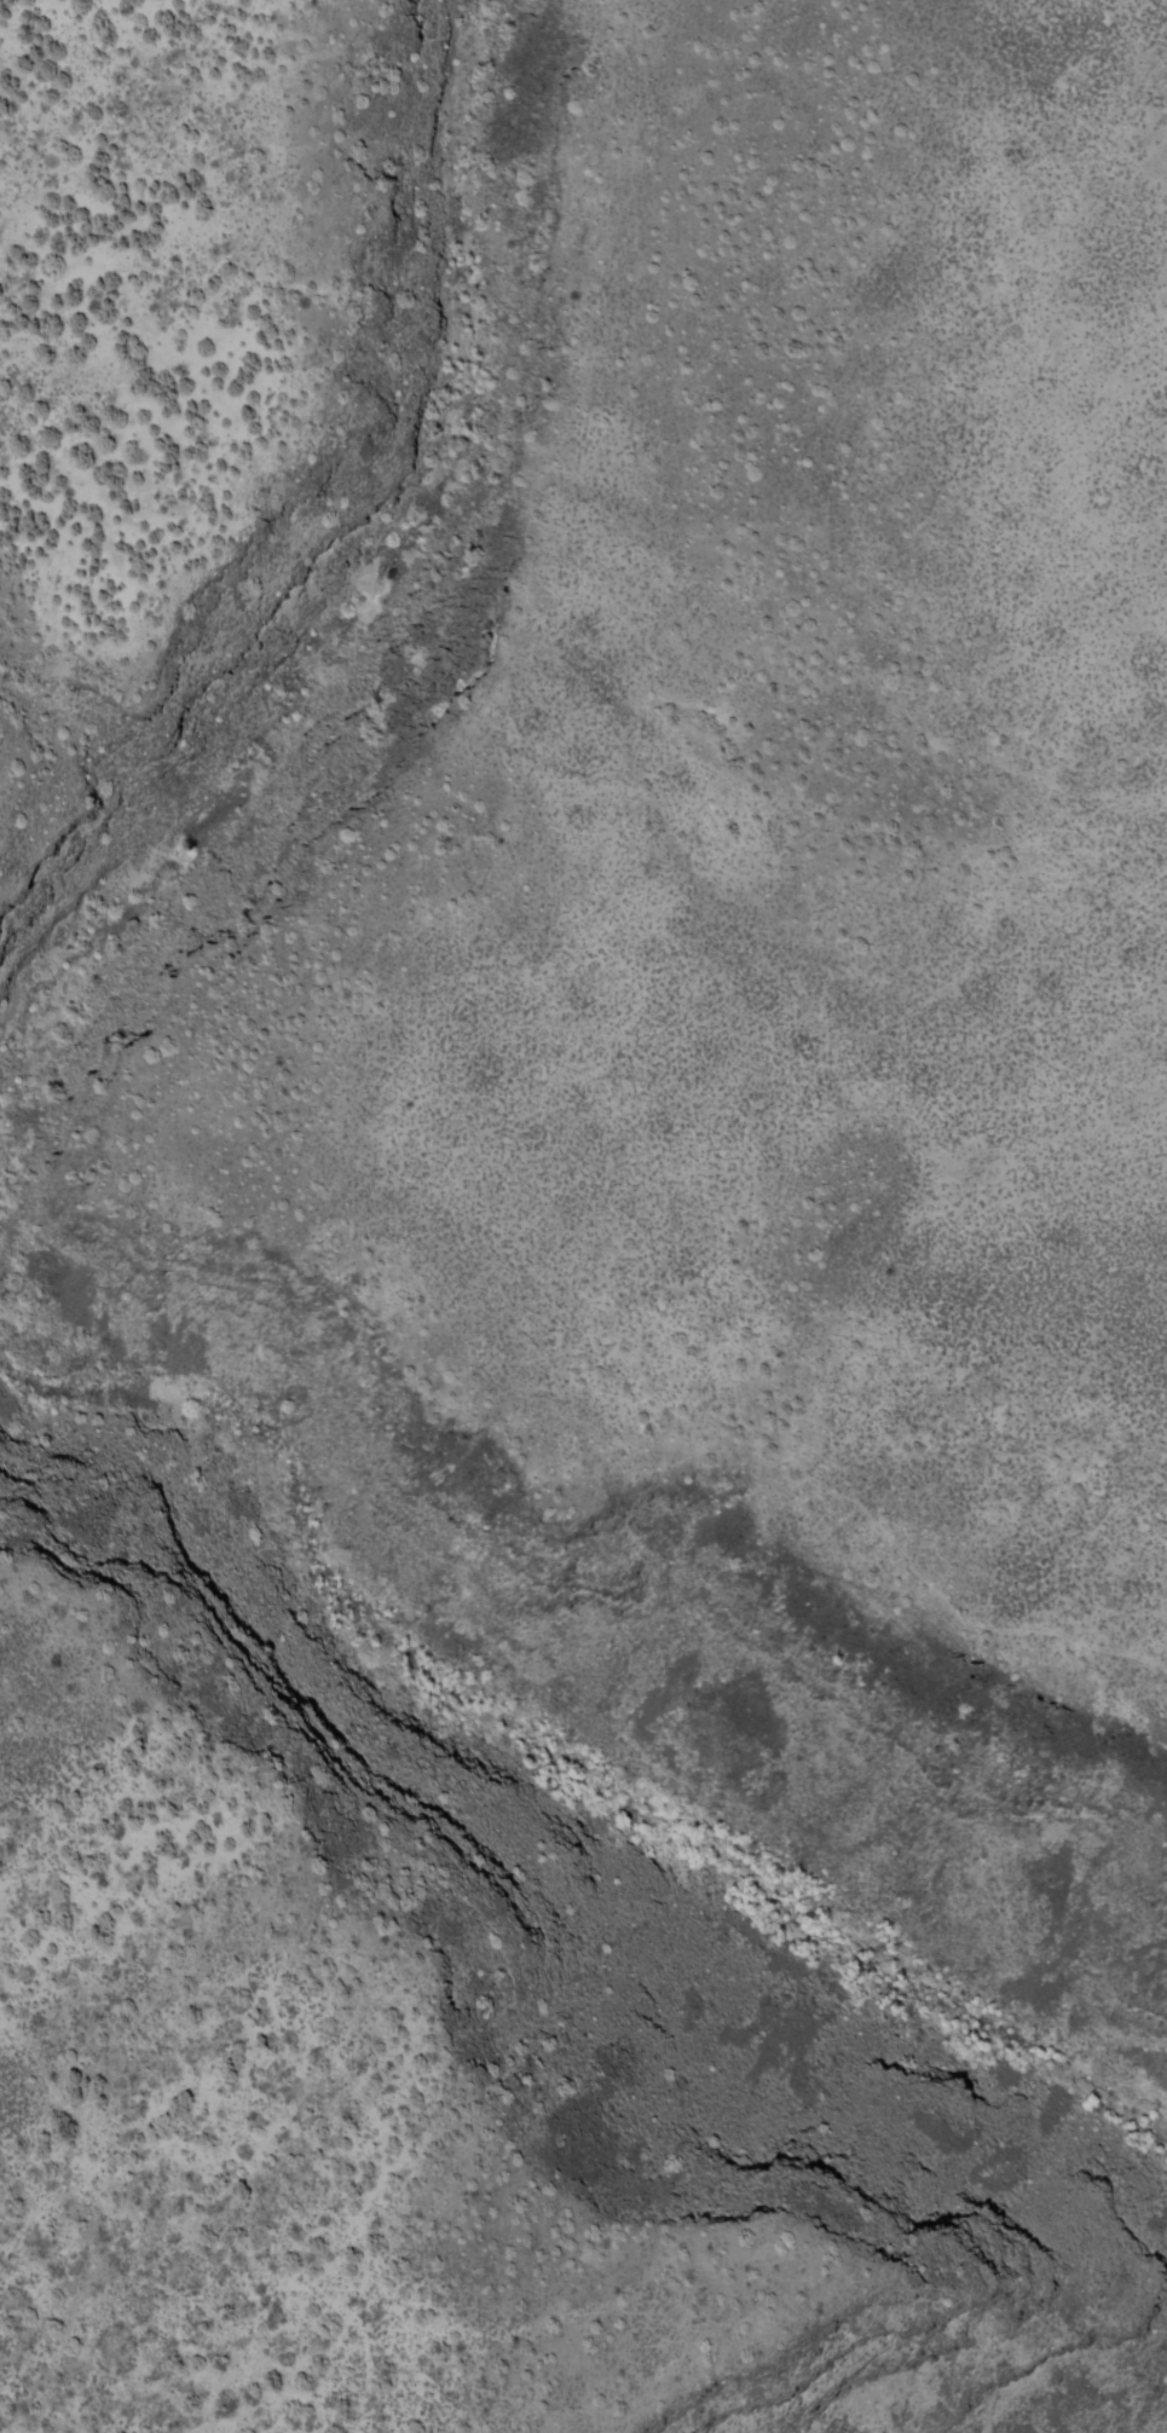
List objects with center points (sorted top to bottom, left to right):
road: (1026, 1630)

